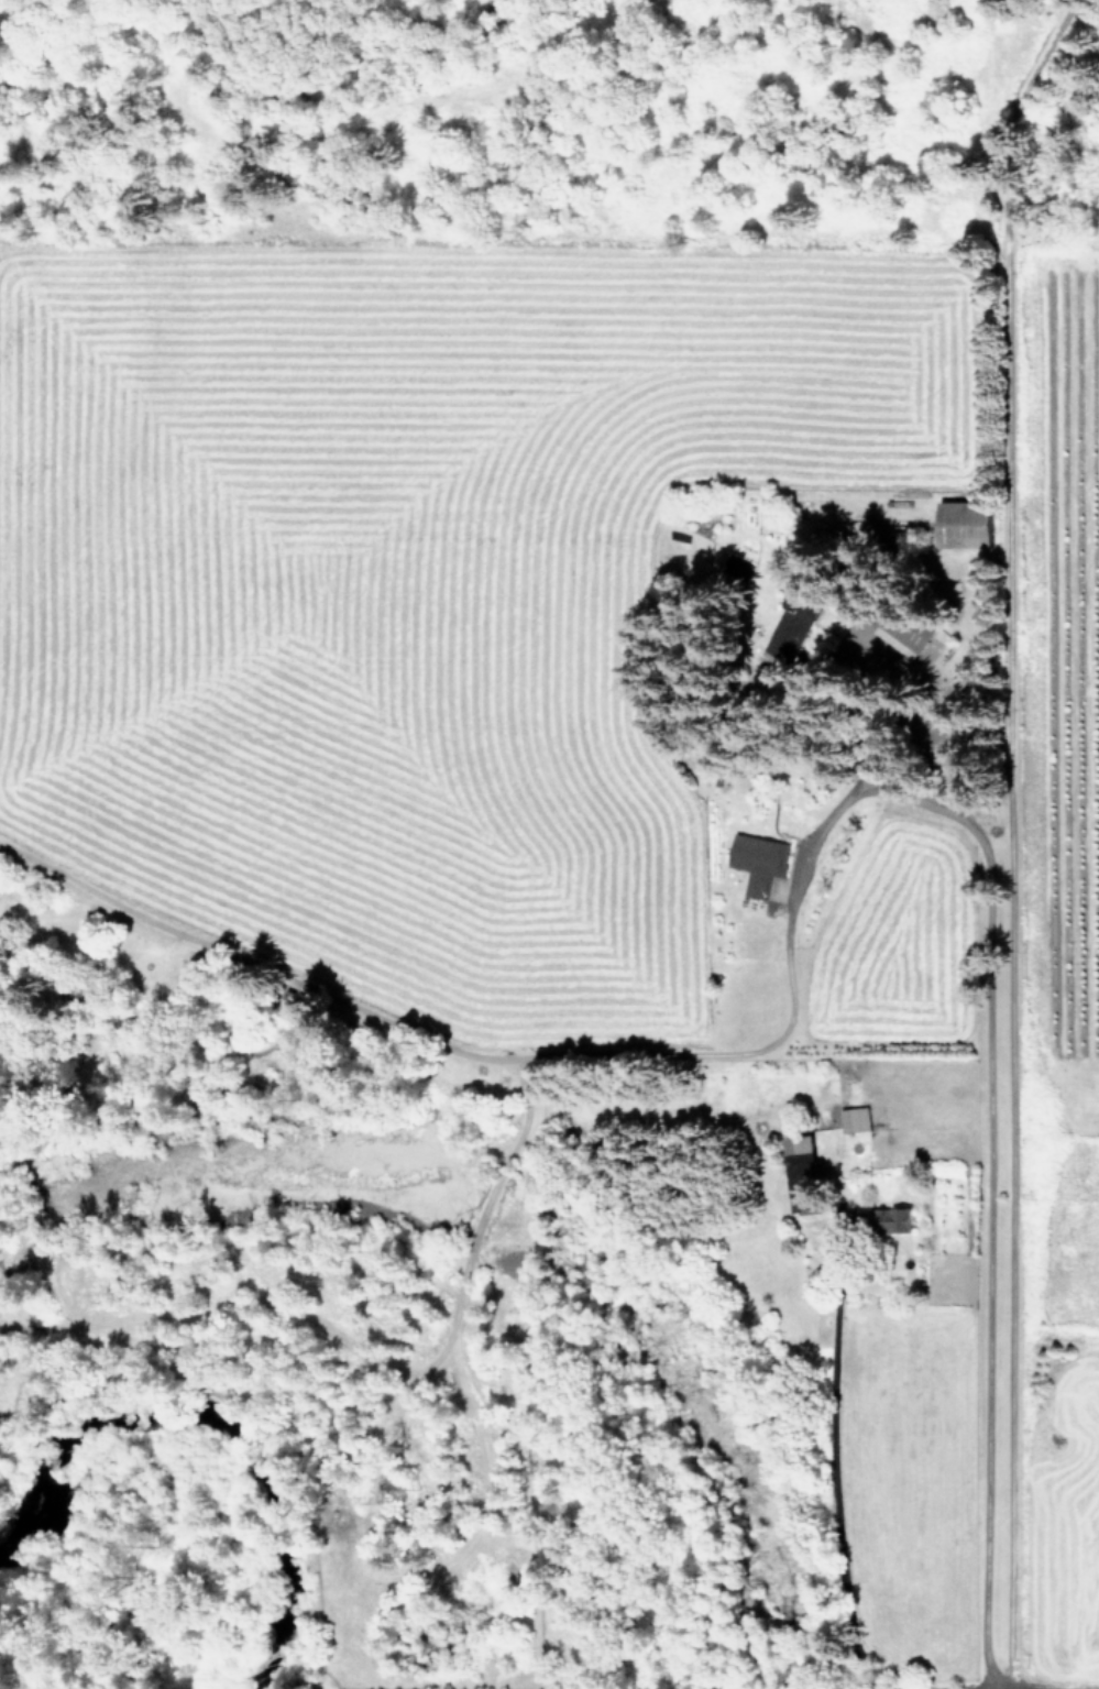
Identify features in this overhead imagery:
building: (972, 522)
building: (805, 613)
crop: (648, 753)
road: (1011, 832)
road: (978, 843)
building: (760, 860)
building: (300, 1003)
building: (857, 1119)
building: (804, 1173)
building: (906, 1219)
road: (835, 1284)
road: (840, 1507)
road: (983, 1674)

